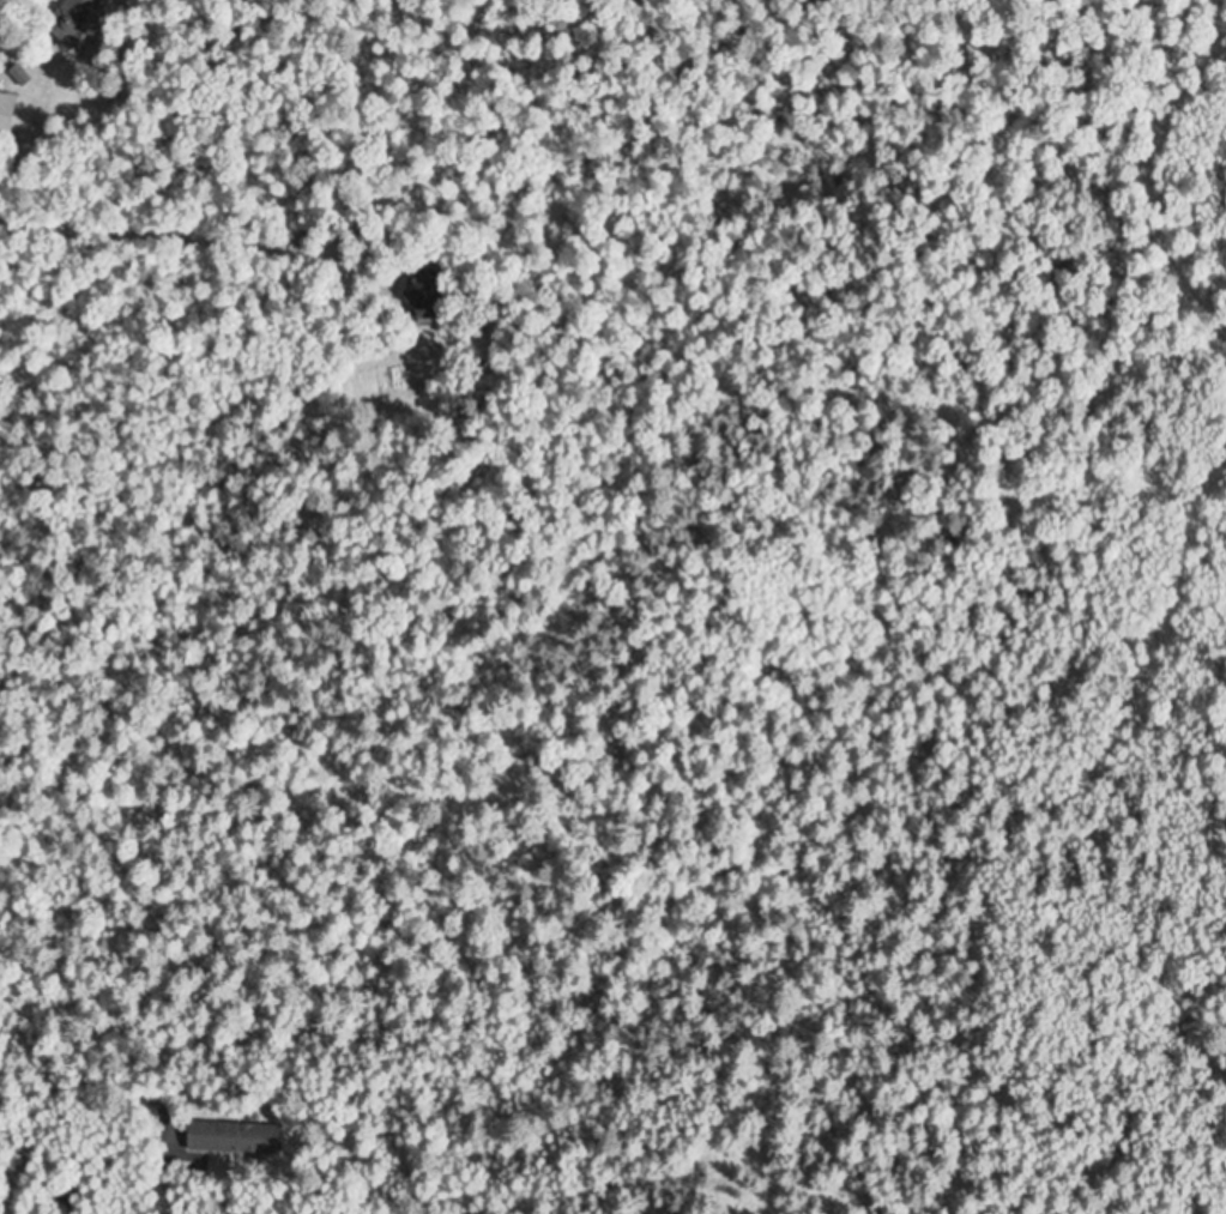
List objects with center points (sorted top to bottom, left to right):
building: (71, 23)
building: (411, 294)
building: (231, 1137)

